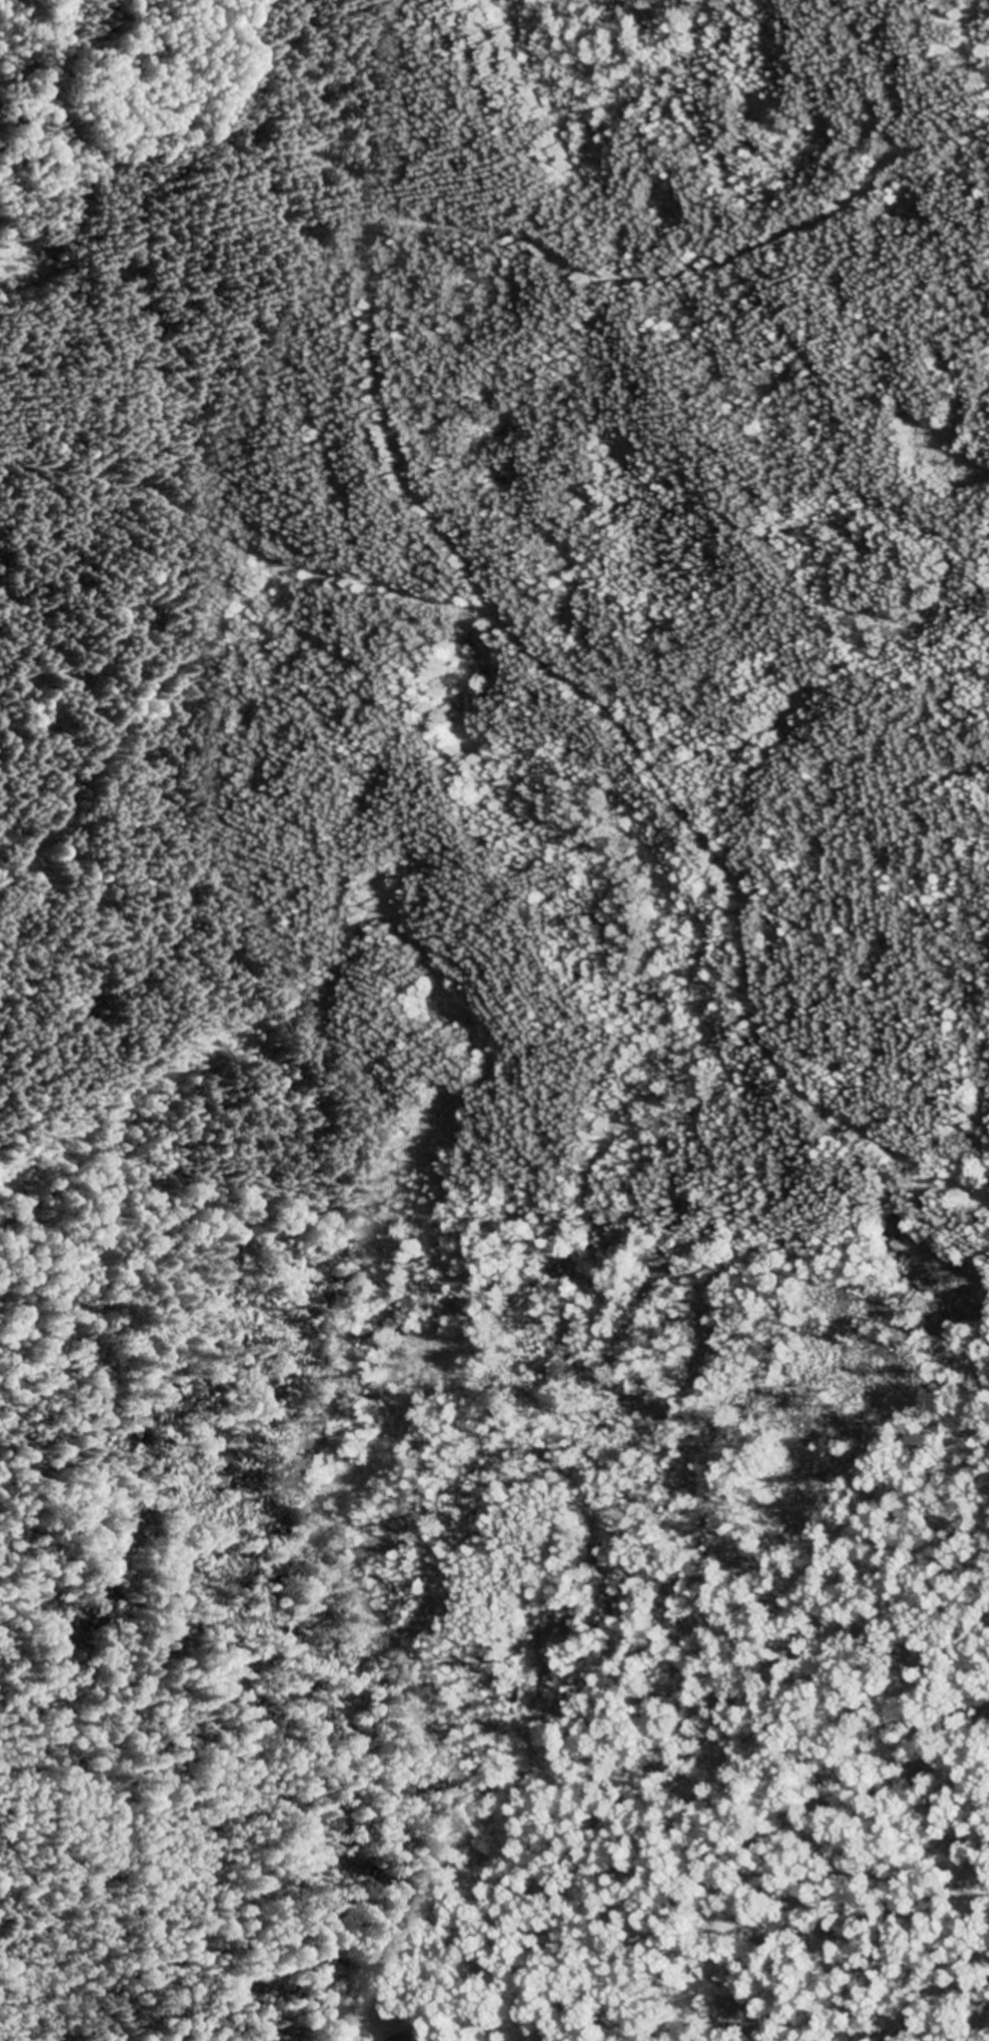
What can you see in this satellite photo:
building: (406, 2037)

